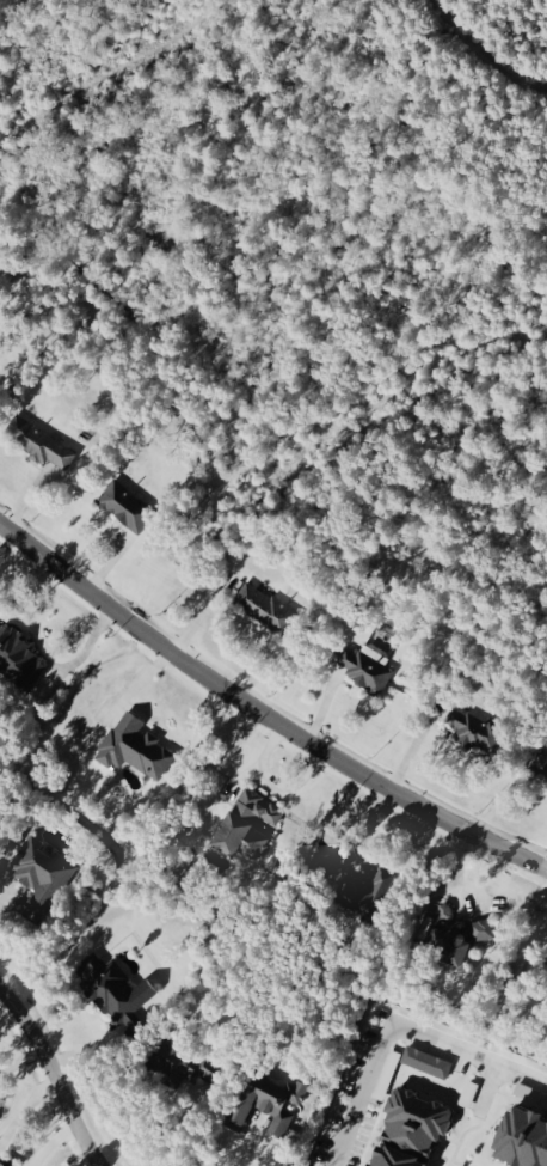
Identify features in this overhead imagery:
building: (37, 442)
building: (123, 506)
building: (263, 608)
building: (17, 659)
building: (364, 667)
road: (262, 715)
building: (472, 728)
building: (131, 746)
building: (539, 765)
road: (275, 781)
building: (546, 785)
building: (244, 824)
building: (320, 855)
building: (39, 873)
building: (364, 891)
building: (481, 929)
building: (444, 936)
building: (112, 989)
road: (398, 1030)
building: (184, 1061)
building: (424, 1062)
road: (50, 1078)
road: (487, 1085)
building: (545, 1100)
building: (266, 1103)
building: (407, 1130)
building: (521, 1138)
road: (265, 1152)
building: (5, 1162)

